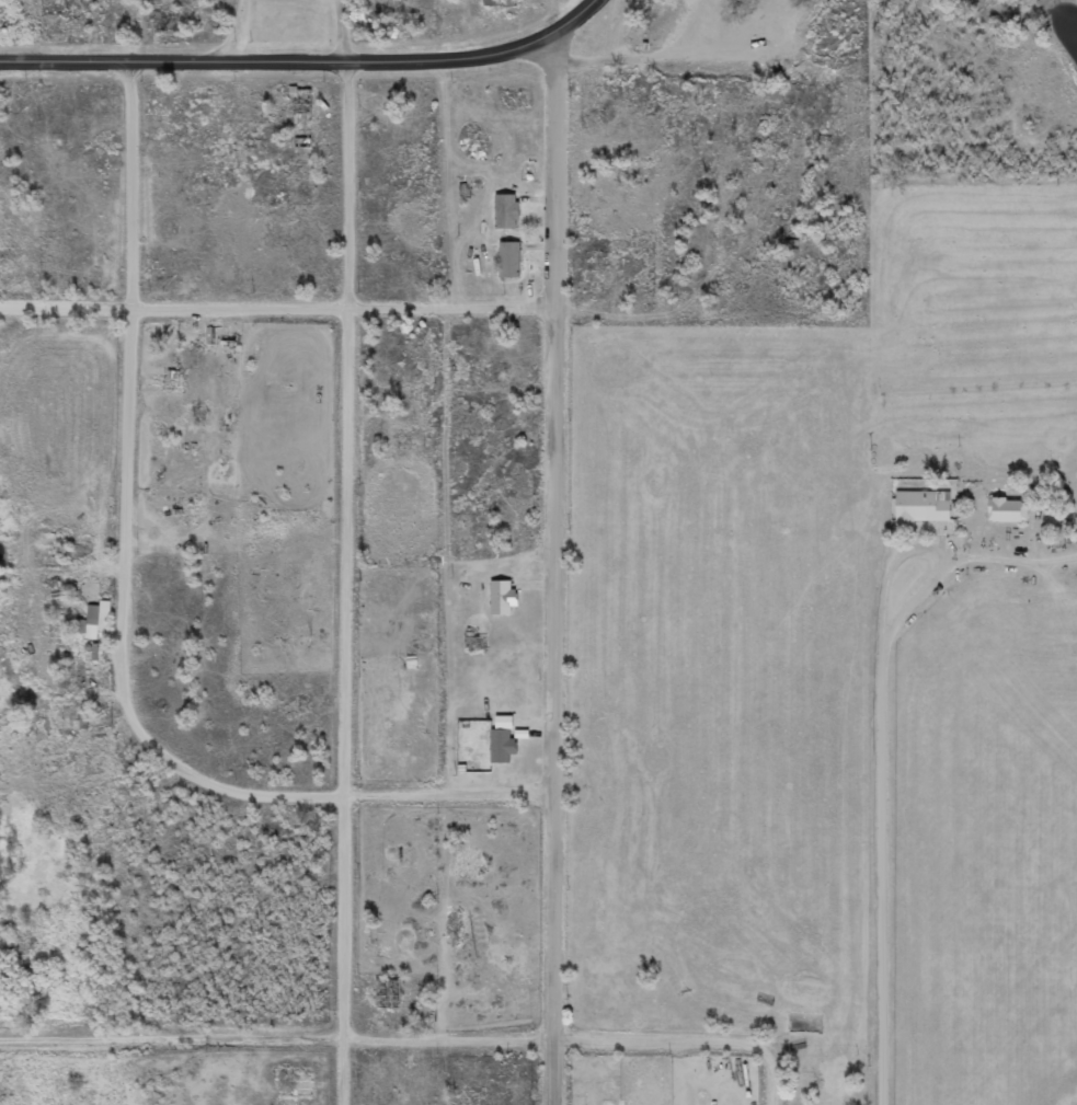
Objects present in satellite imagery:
building: (502, 3)
road: (574, 20)
road: (276, 61)
building: (507, 211)
building: (511, 260)
road: (353, 310)
road: (134, 422)
building: (1009, 510)
road: (351, 552)
road: (562, 552)
road: (745, 577)
building: (503, 598)
building: (96, 621)
building: (503, 747)
road: (893, 776)
road: (366, 798)
road: (375, 1040)
road: (776, 1069)

